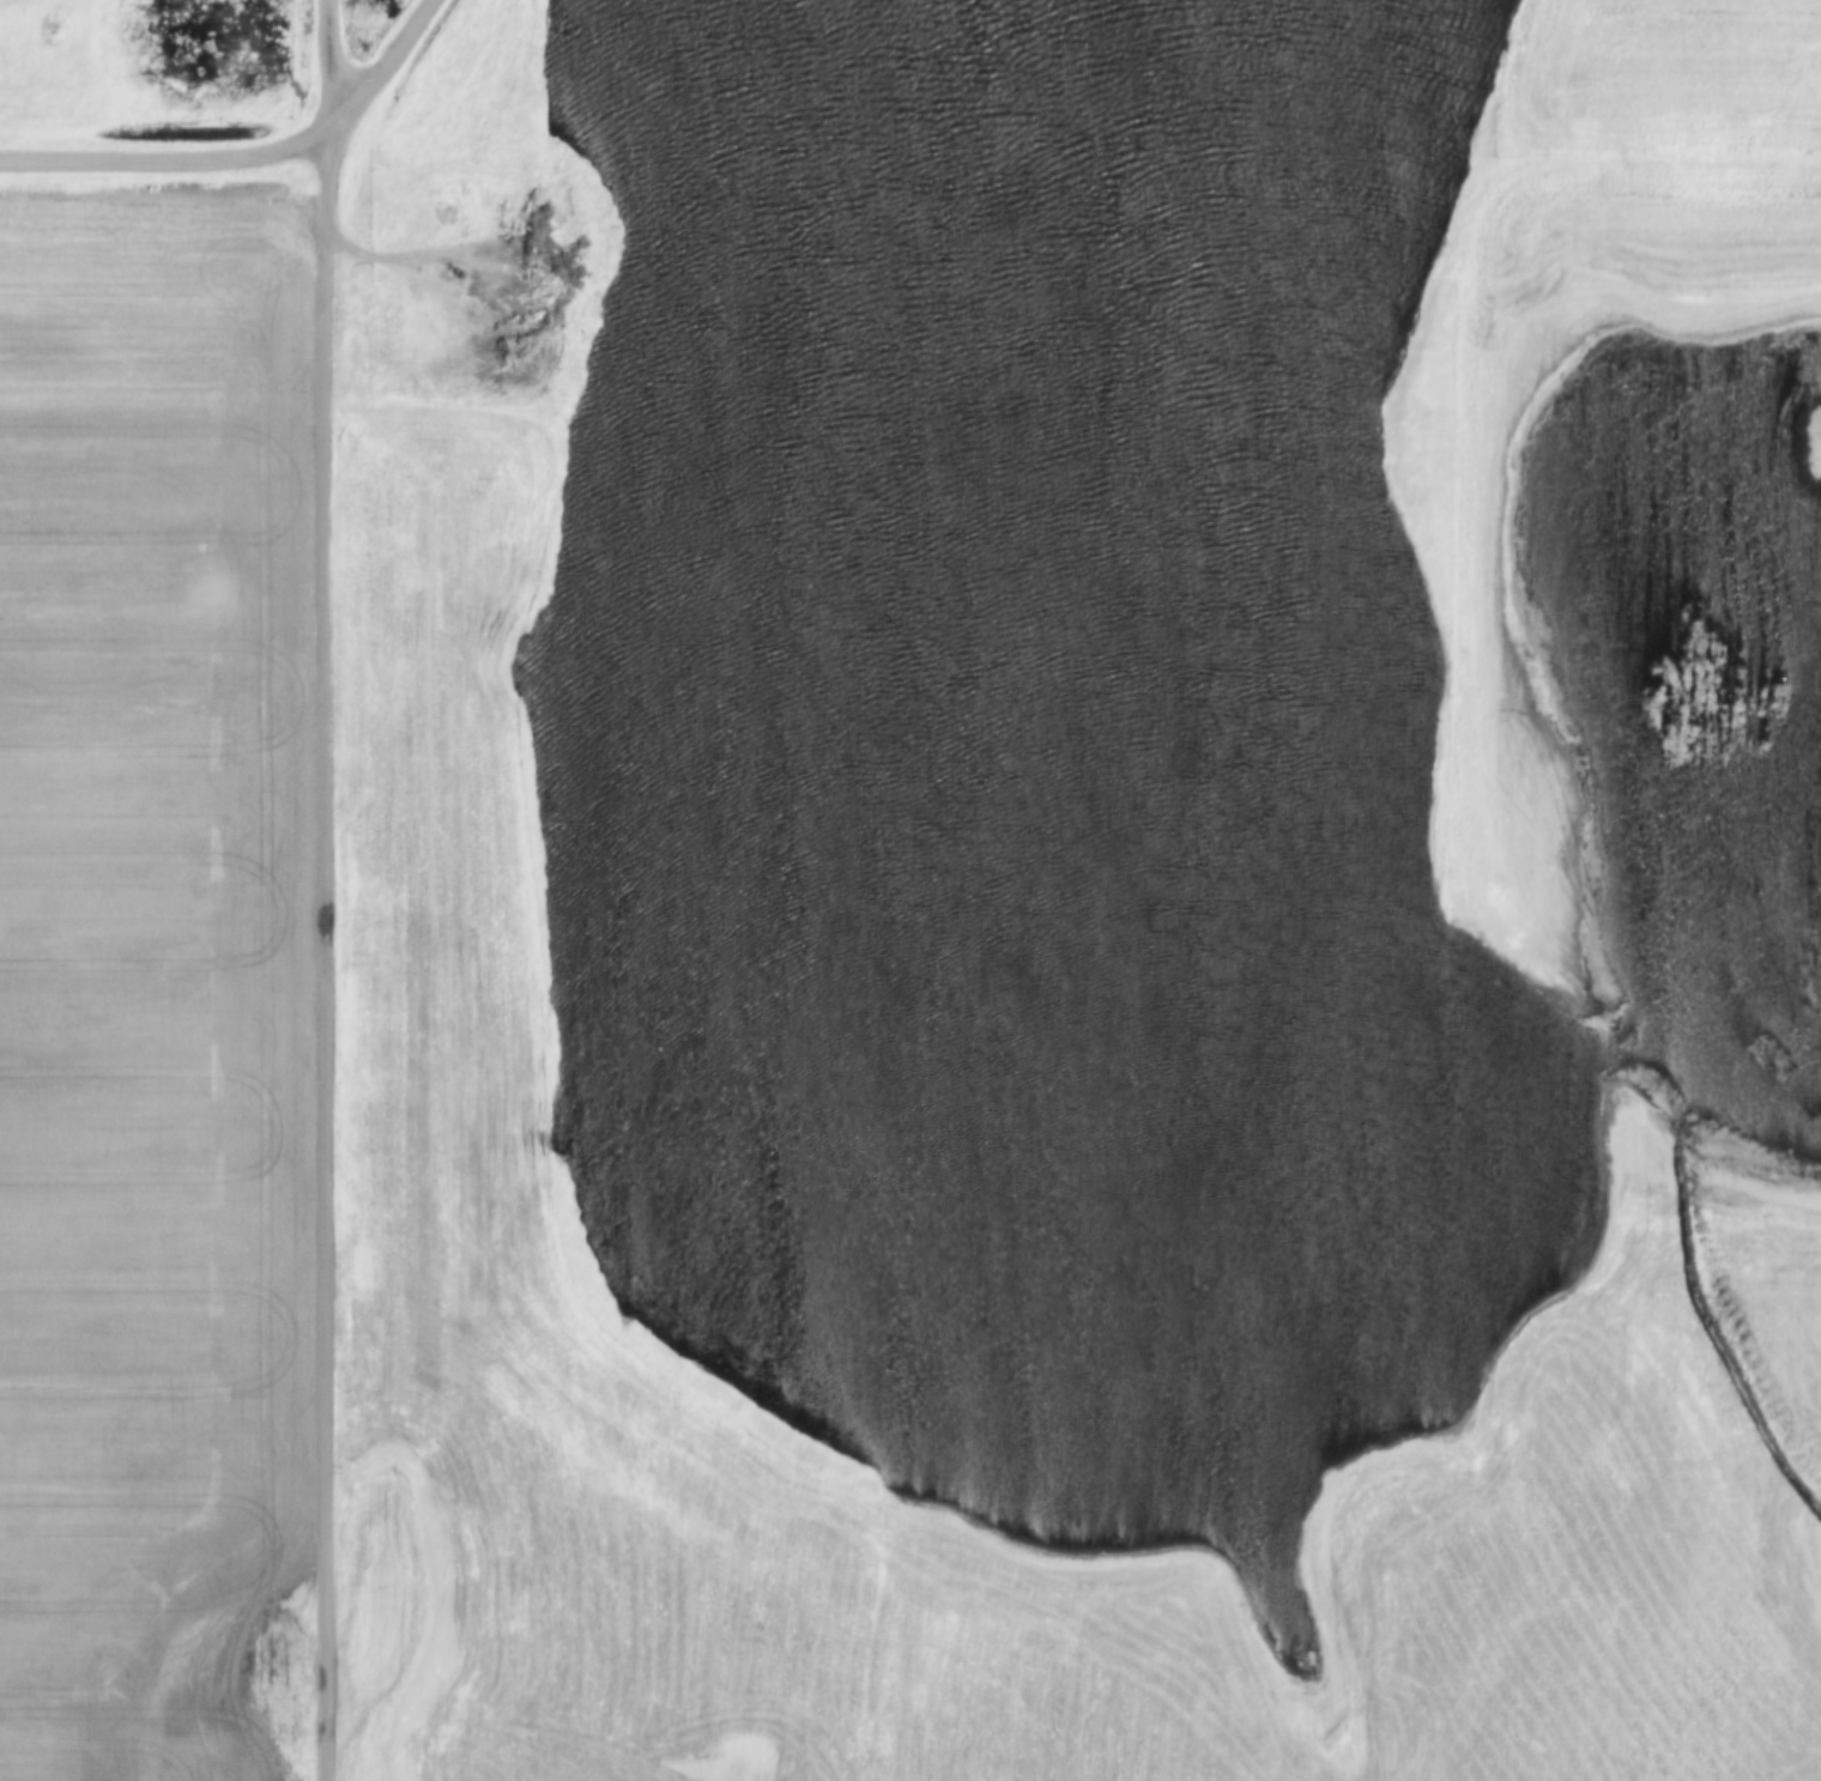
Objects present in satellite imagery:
road: (380, 67)
road: (165, 160)
road: (515, 263)
road: (321, 890)

